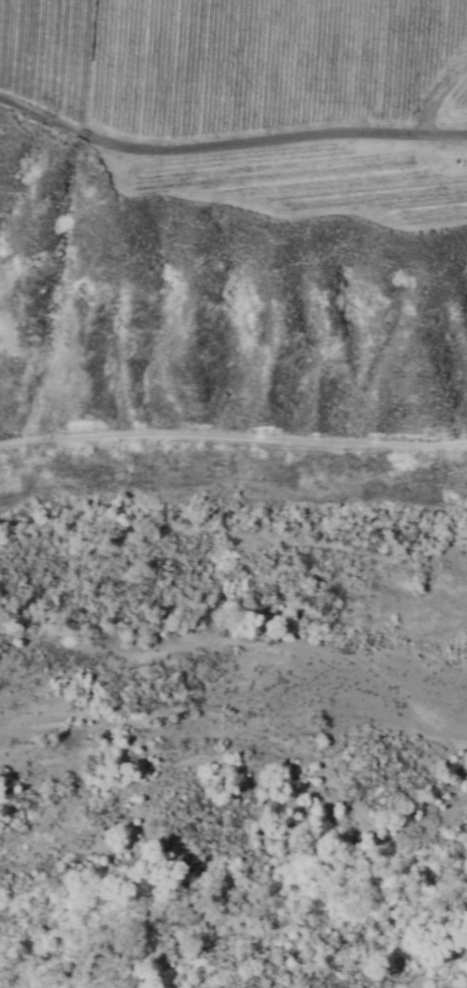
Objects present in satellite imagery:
crop: (263, 95)

